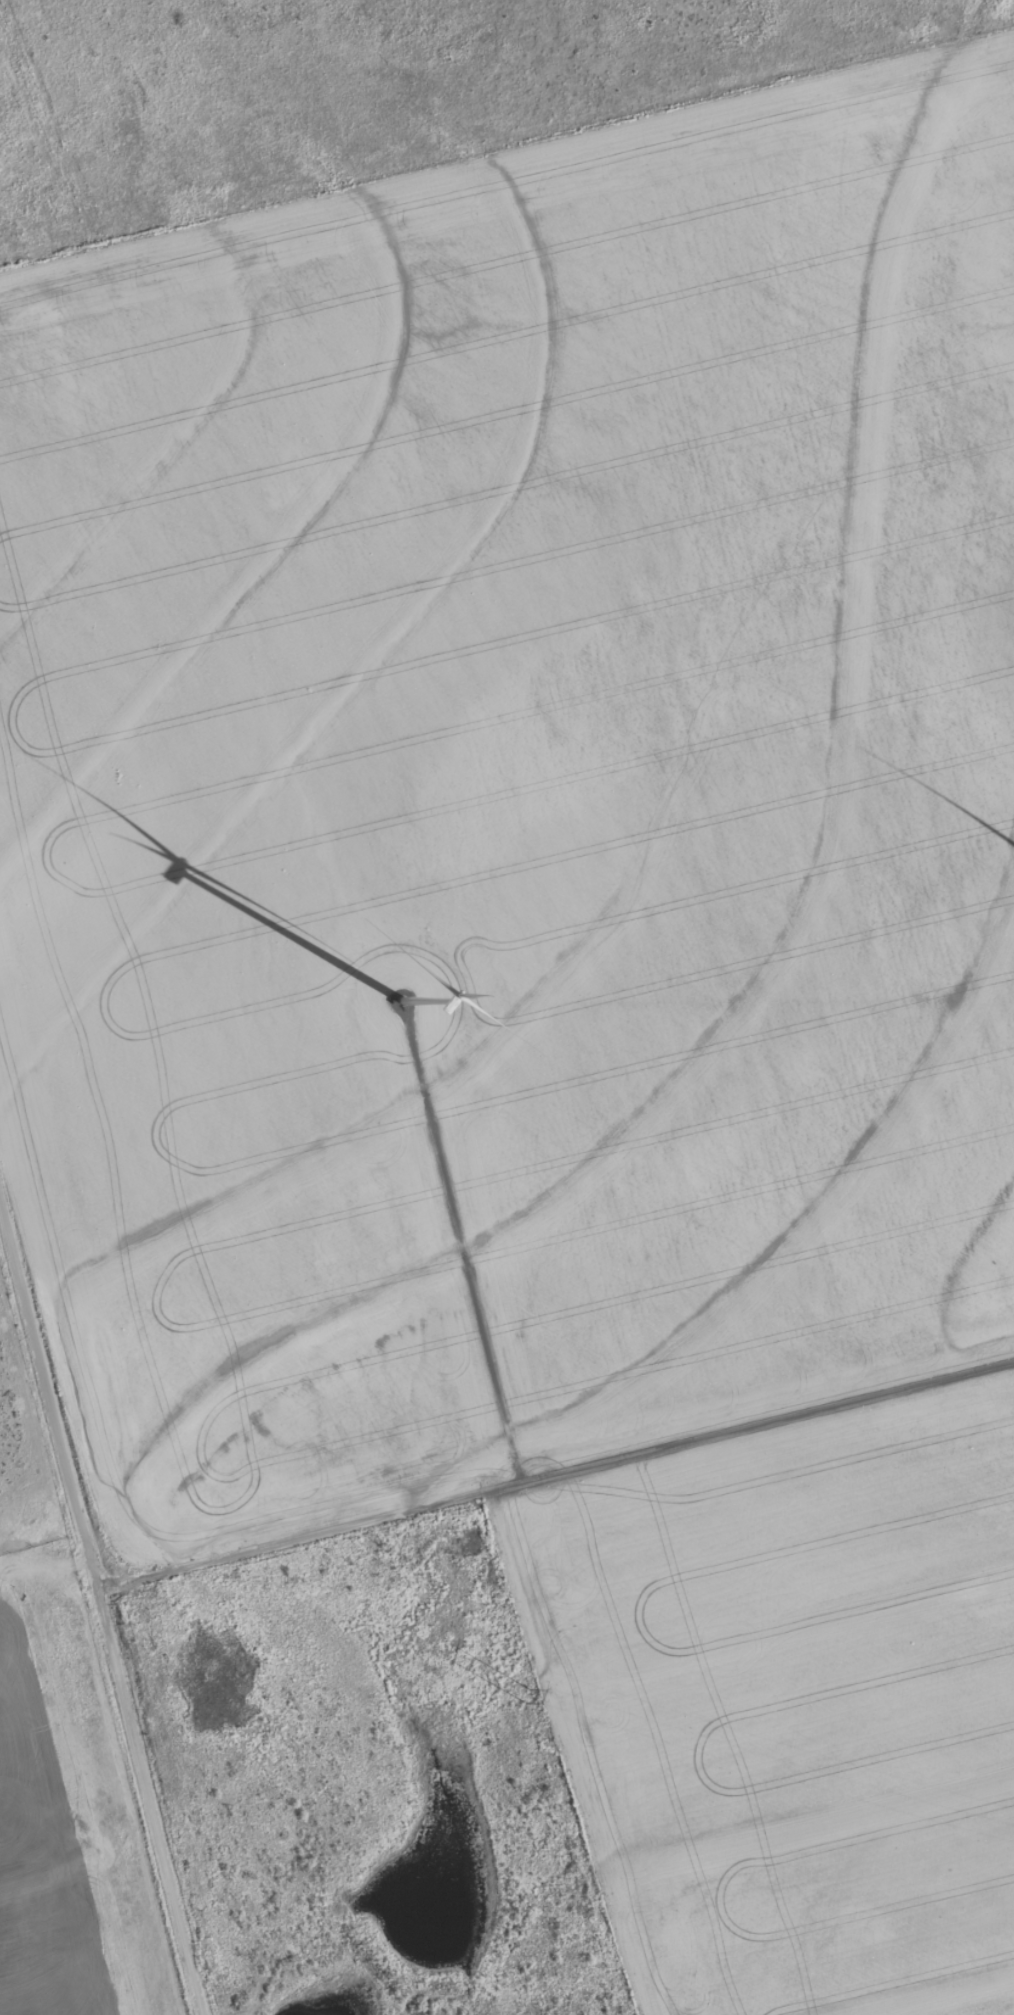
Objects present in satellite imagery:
wind turbine: (398, 1006)
road: (102, 1609)
power tower: (526, 1695)

